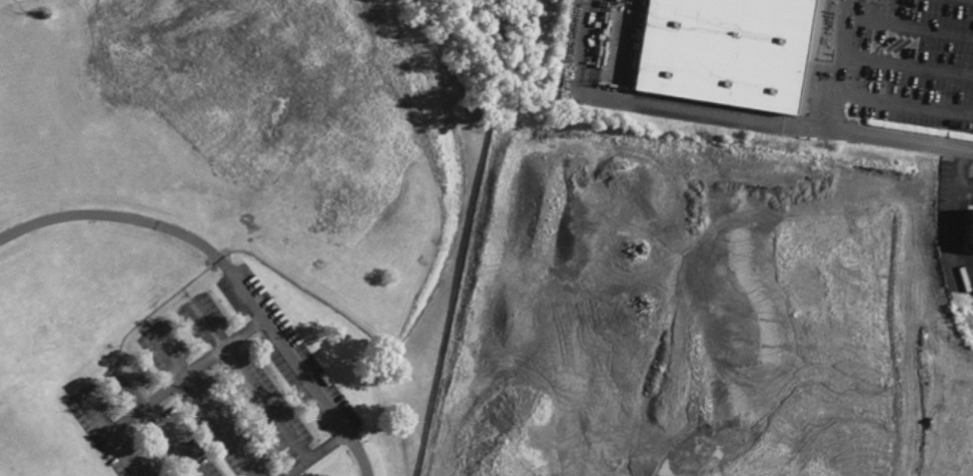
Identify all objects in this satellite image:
road: (909, 28)
building: (731, 51)
parking lot: (920, 63)
road: (907, 67)
road: (838, 75)
road: (904, 102)
road: (917, 140)
building: (964, 230)
road: (232, 274)
road: (230, 346)
road: (274, 401)
road: (129, 416)
road: (231, 423)
road: (317, 456)

